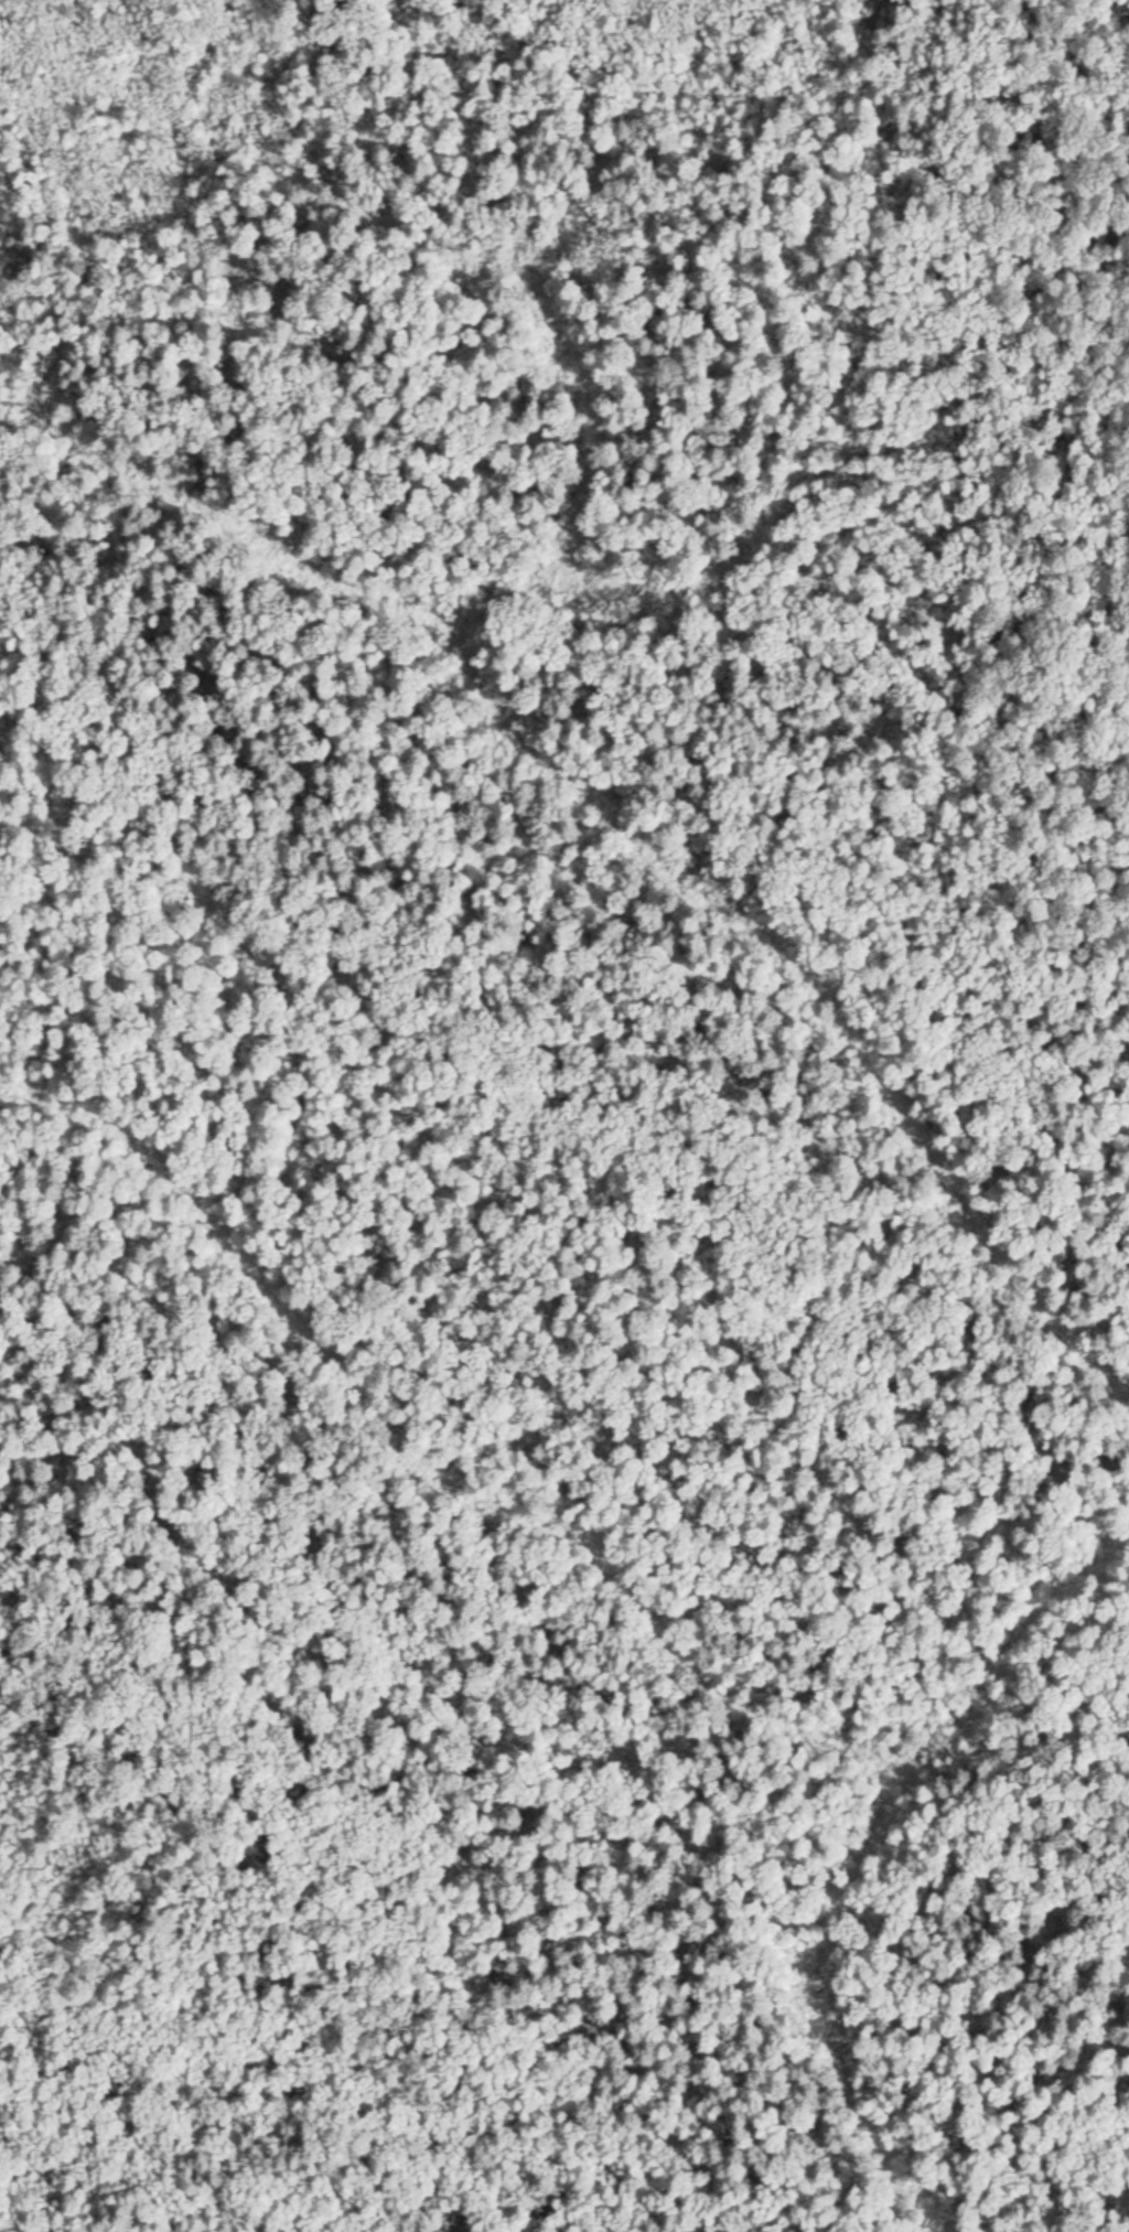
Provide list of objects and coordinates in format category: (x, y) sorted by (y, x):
road: (620, 820)
road: (439, 1451)
road: (875, 1872)

